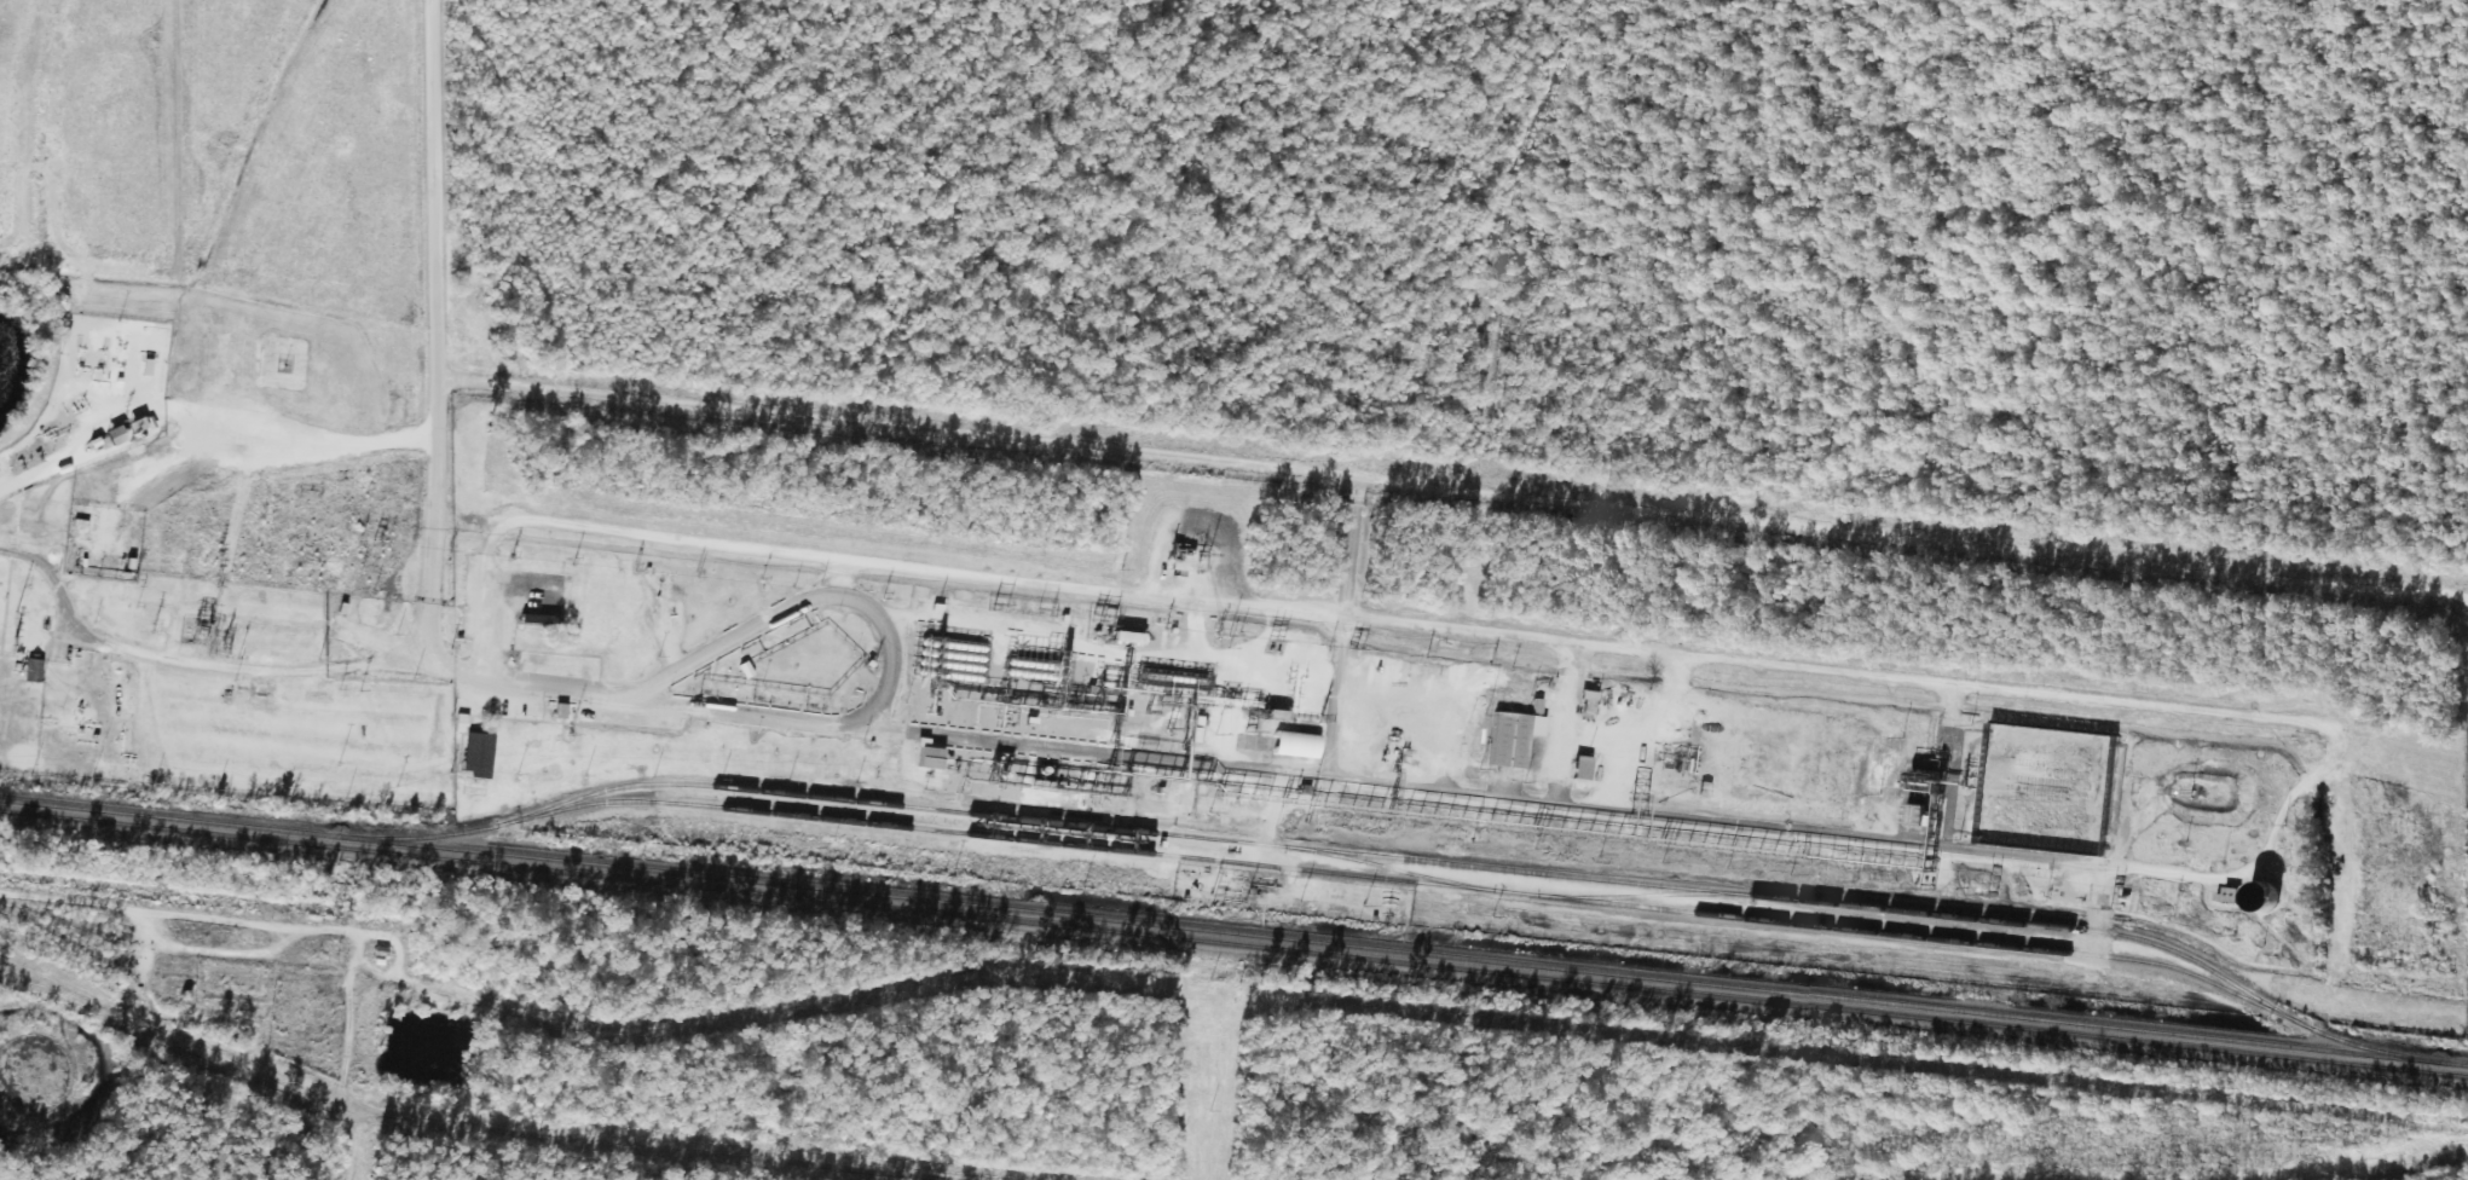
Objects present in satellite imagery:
road: (426, 229)
building: (121, 434)
road: (430, 555)
building: (1173, 557)
road: (827, 578)
road: (802, 605)
building: (536, 619)
road: (1455, 627)
road: (191, 649)
building: (34, 670)
road: (1335, 696)
building: (1417, 717)
building: (1503, 741)
building: (1281, 744)
building: (919, 756)
building: (468, 767)
road: (1260, 770)
building: (2140, 800)
building: (1906, 815)
railway: (1243, 841)
railway: (1401, 880)
building: (2250, 898)
road: (172, 913)
railway: (1233, 943)
railway: (1393, 950)

